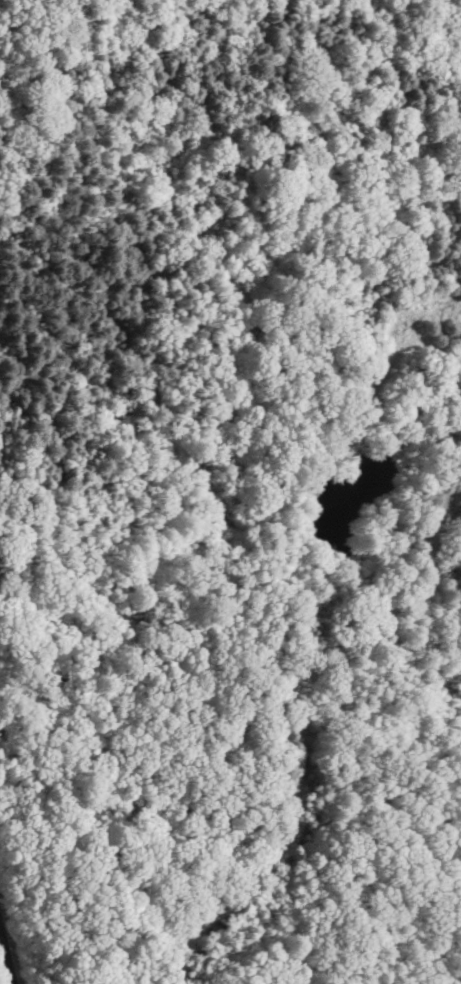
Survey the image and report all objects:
road: (8, 953)

